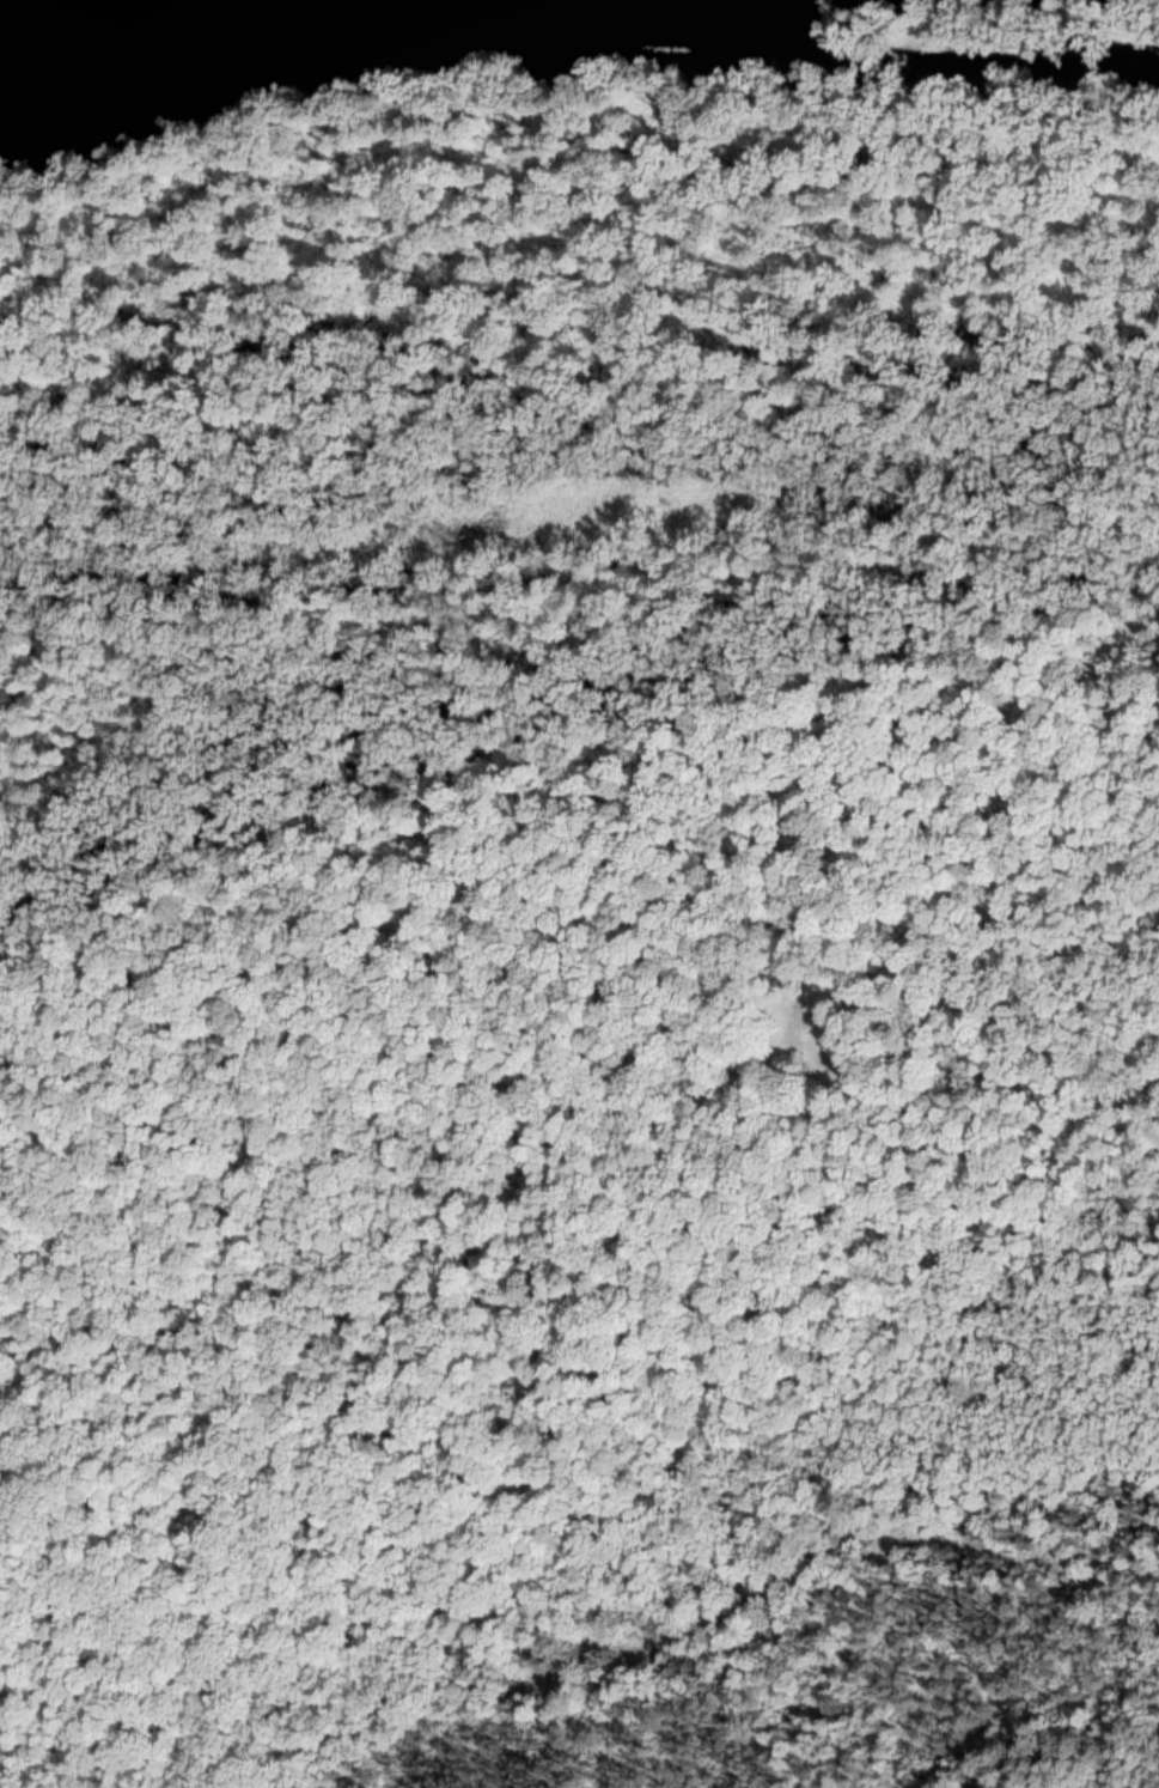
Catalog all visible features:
river: (65, 25)

